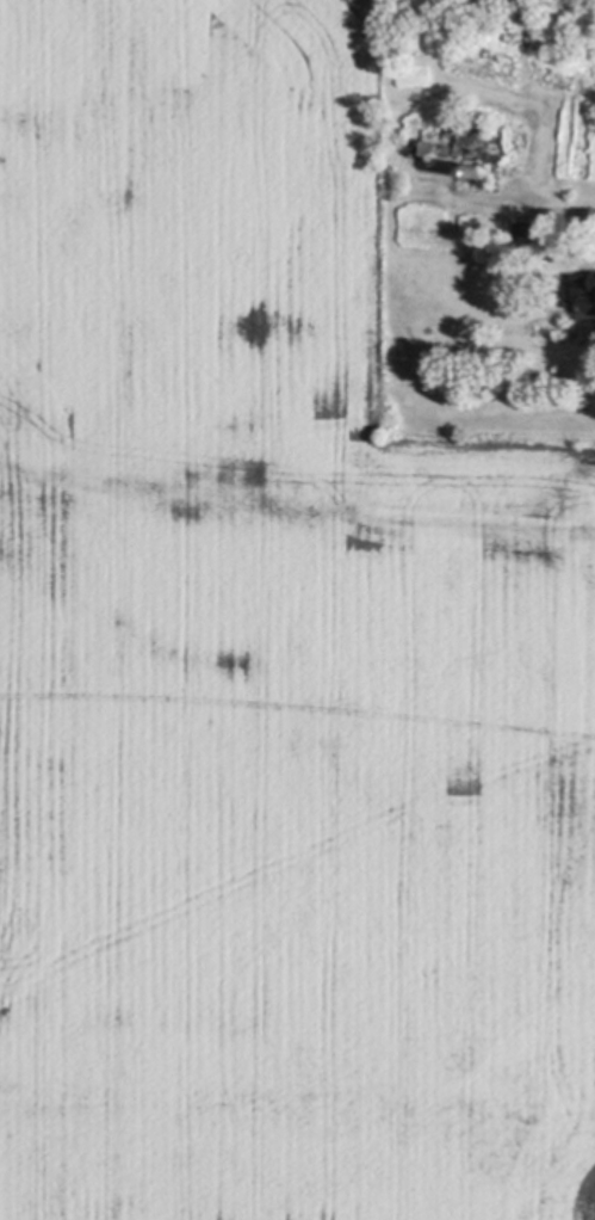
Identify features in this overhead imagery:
building: (478, 175)
building: (527, 234)
building: (569, 296)
building: (585, 301)

